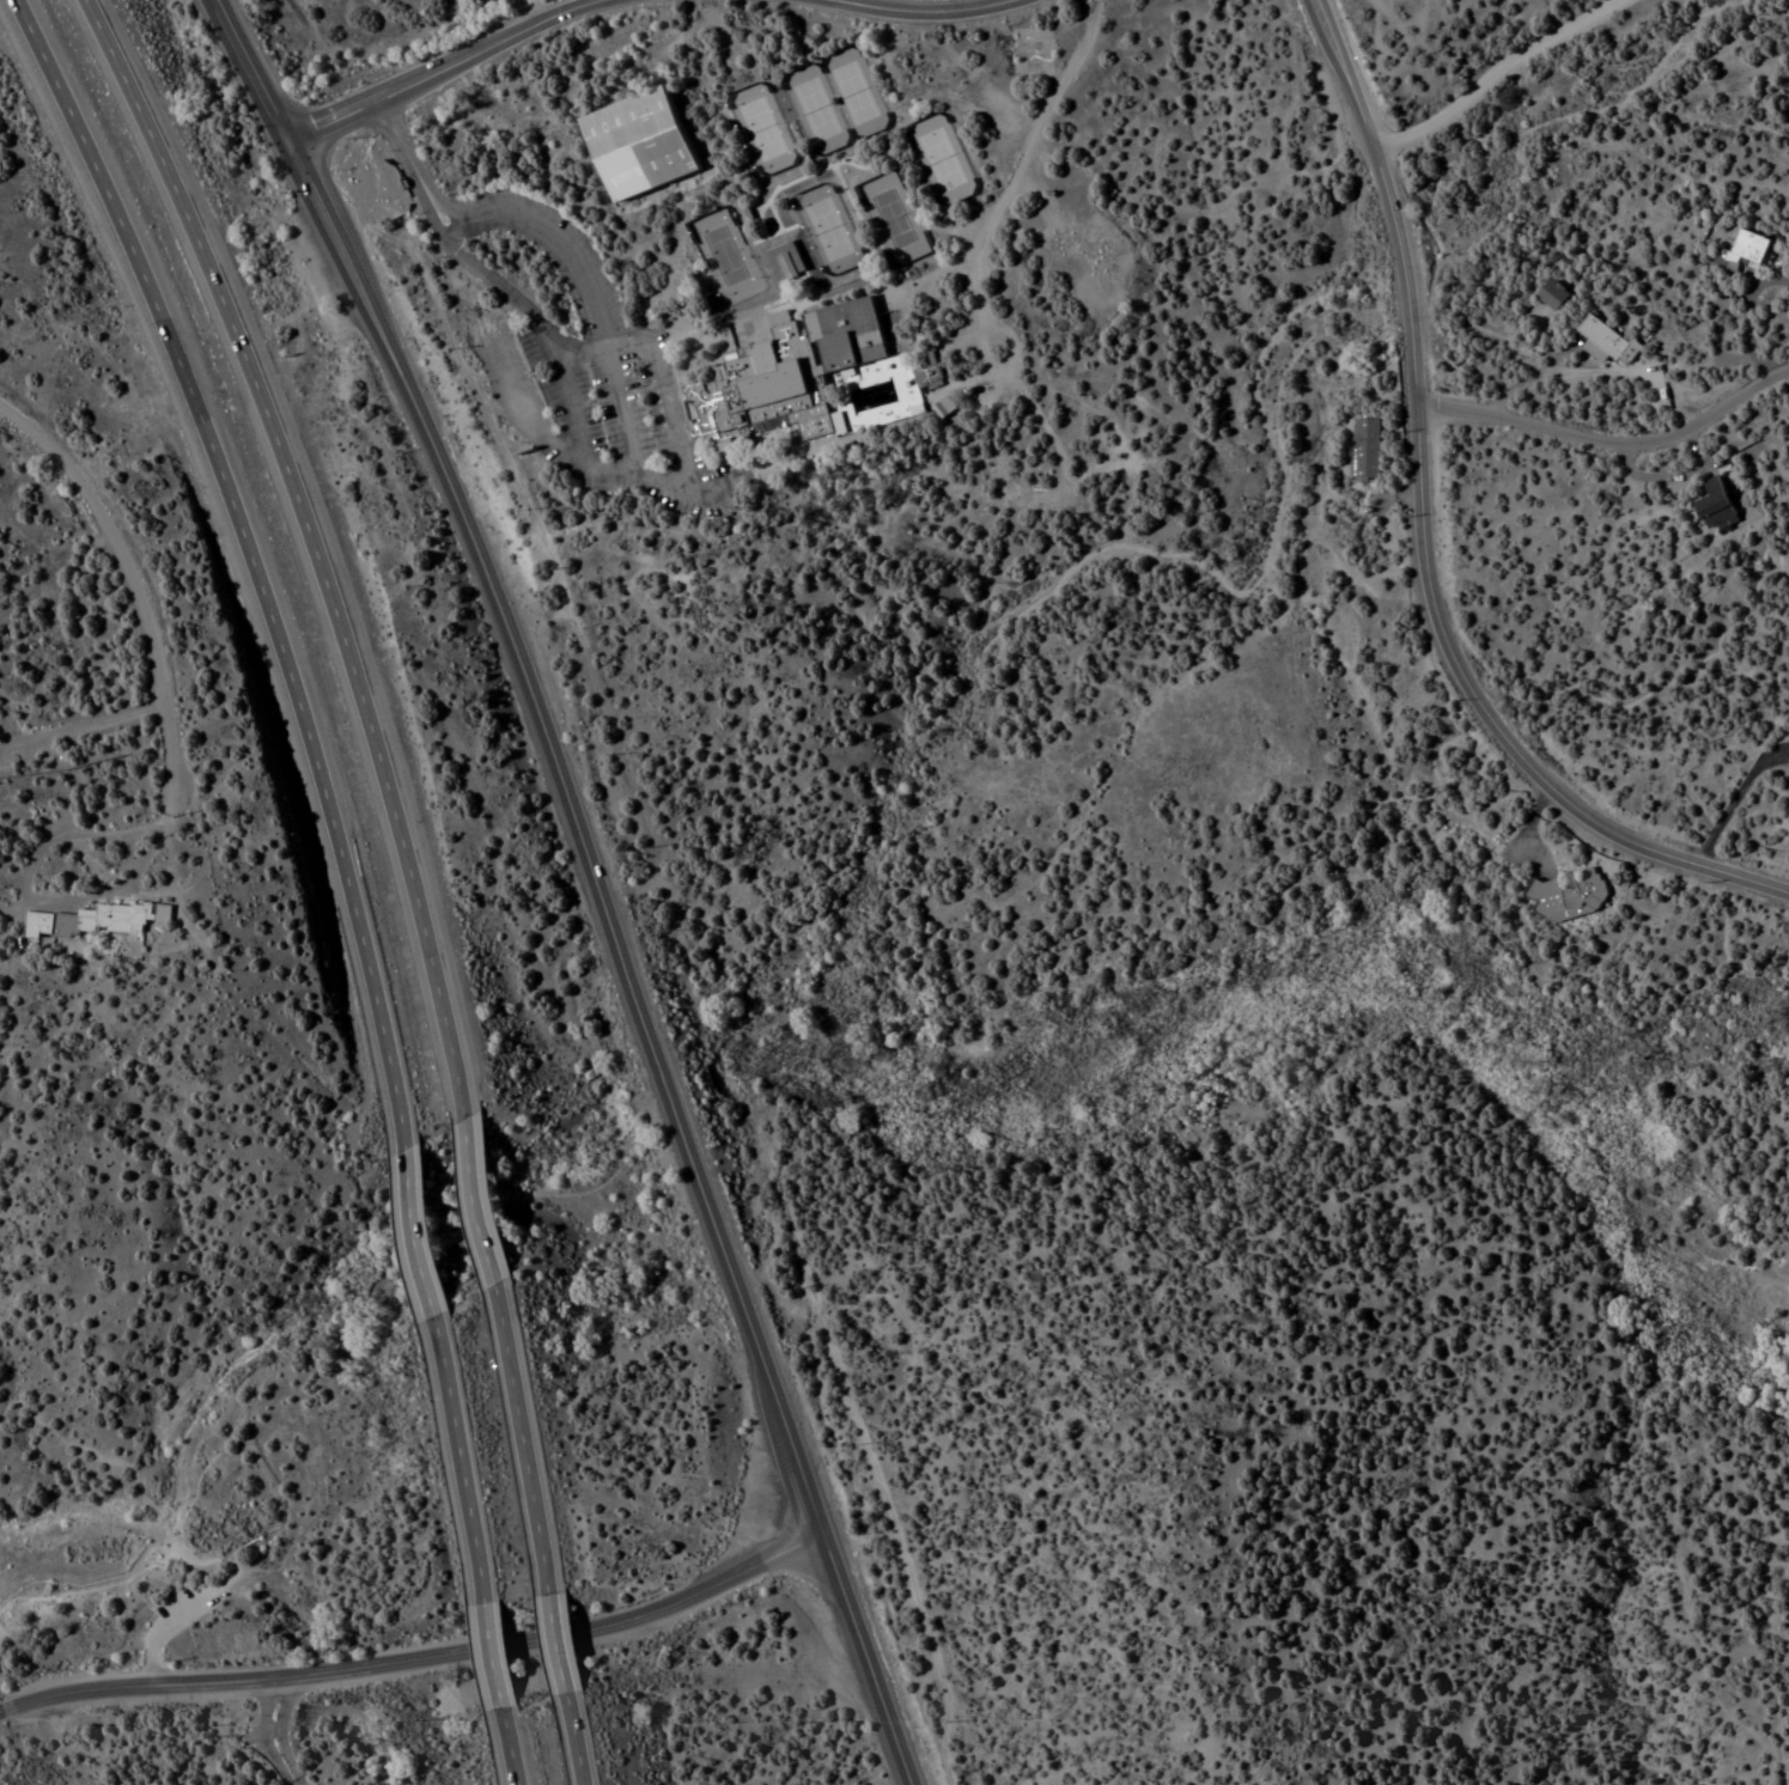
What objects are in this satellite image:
road: (920, 12)
park: (1033, 50)
road: (442, 69)
road: (1495, 75)
park: (865, 89)
park: (826, 105)
park: (773, 126)
traffic signals: (287, 141)
building: (647, 142)
park: (953, 157)
park: (905, 215)
park: (840, 226)
building: (1752, 238)
park: (737, 252)
building: (1557, 290)
building: (1612, 336)
building: (799, 371)
road: (676, 392)
road: (524, 409)
road: (1610, 441)
road: (645, 458)
road: (1426, 535)
road: (311, 546)
road: (250, 560)
road: (132, 585)
road: (108, 719)
parking lot: (72, 731)
building: (71, 756)
road: (1734, 796)
road: (595, 879)
road: (38, 890)
building: (1571, 894)
building: (99, 914)
park: (98, 1186)
road: (477, 1201)
road: (420, 1231)
road: (519, 1439)
road: (457, 1458)
road: (252, 1567)
parking lot: (200, 1612)
road: (190, 1615)
road: (555, 1643)
road: (419, 1657)
road: (491, 1658)
road: (294, 1728)
road: (287, 1732)
road: (279, 1735)
road: (269, 1736)
road: (573, 1740)
road: (509, 1749)

